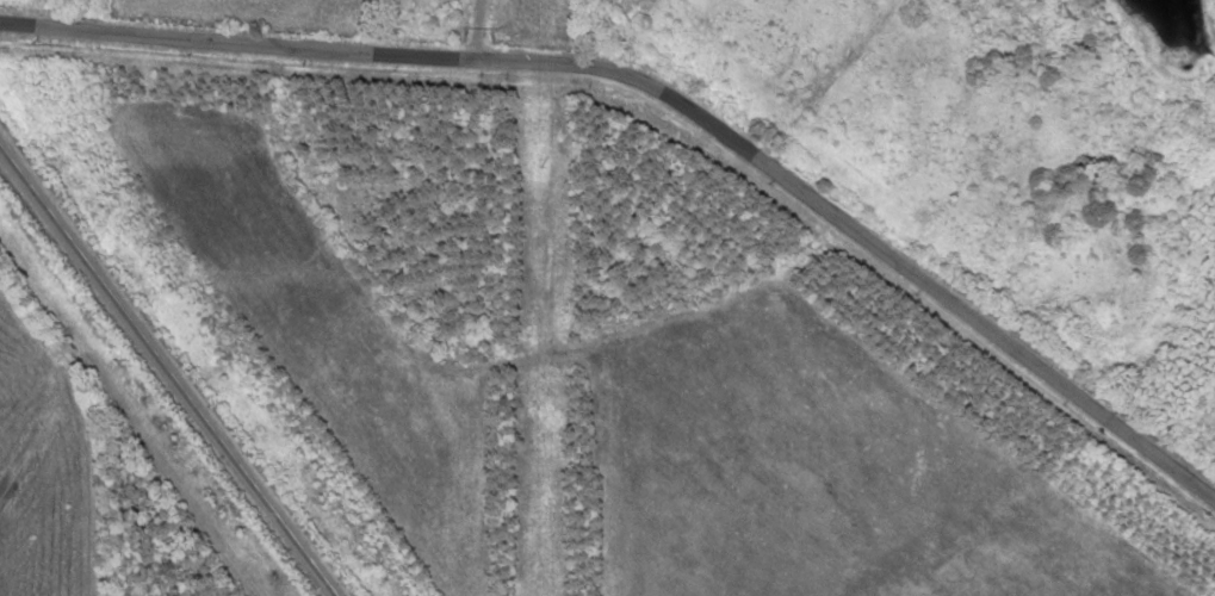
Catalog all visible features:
road: (671, 101)
railway: (165, 373)
building: (551, 423)

